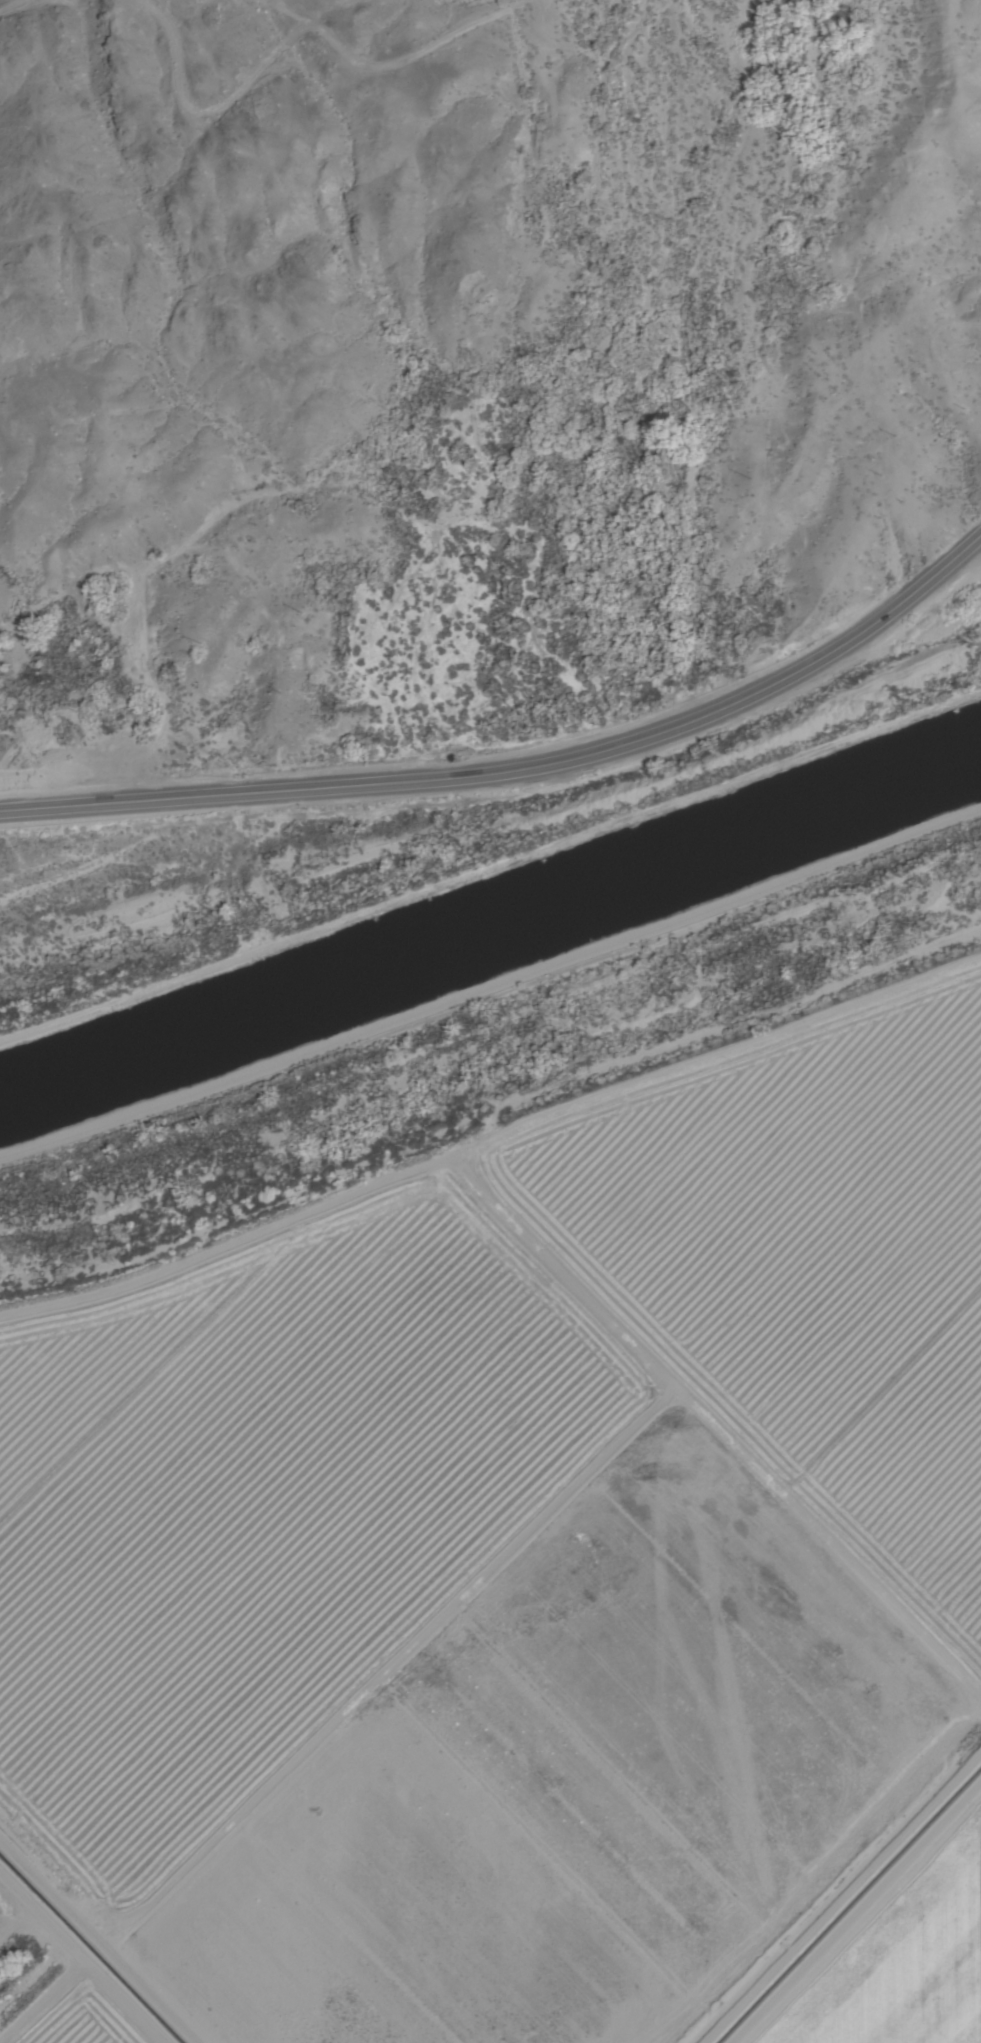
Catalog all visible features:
road: (521, 769)

